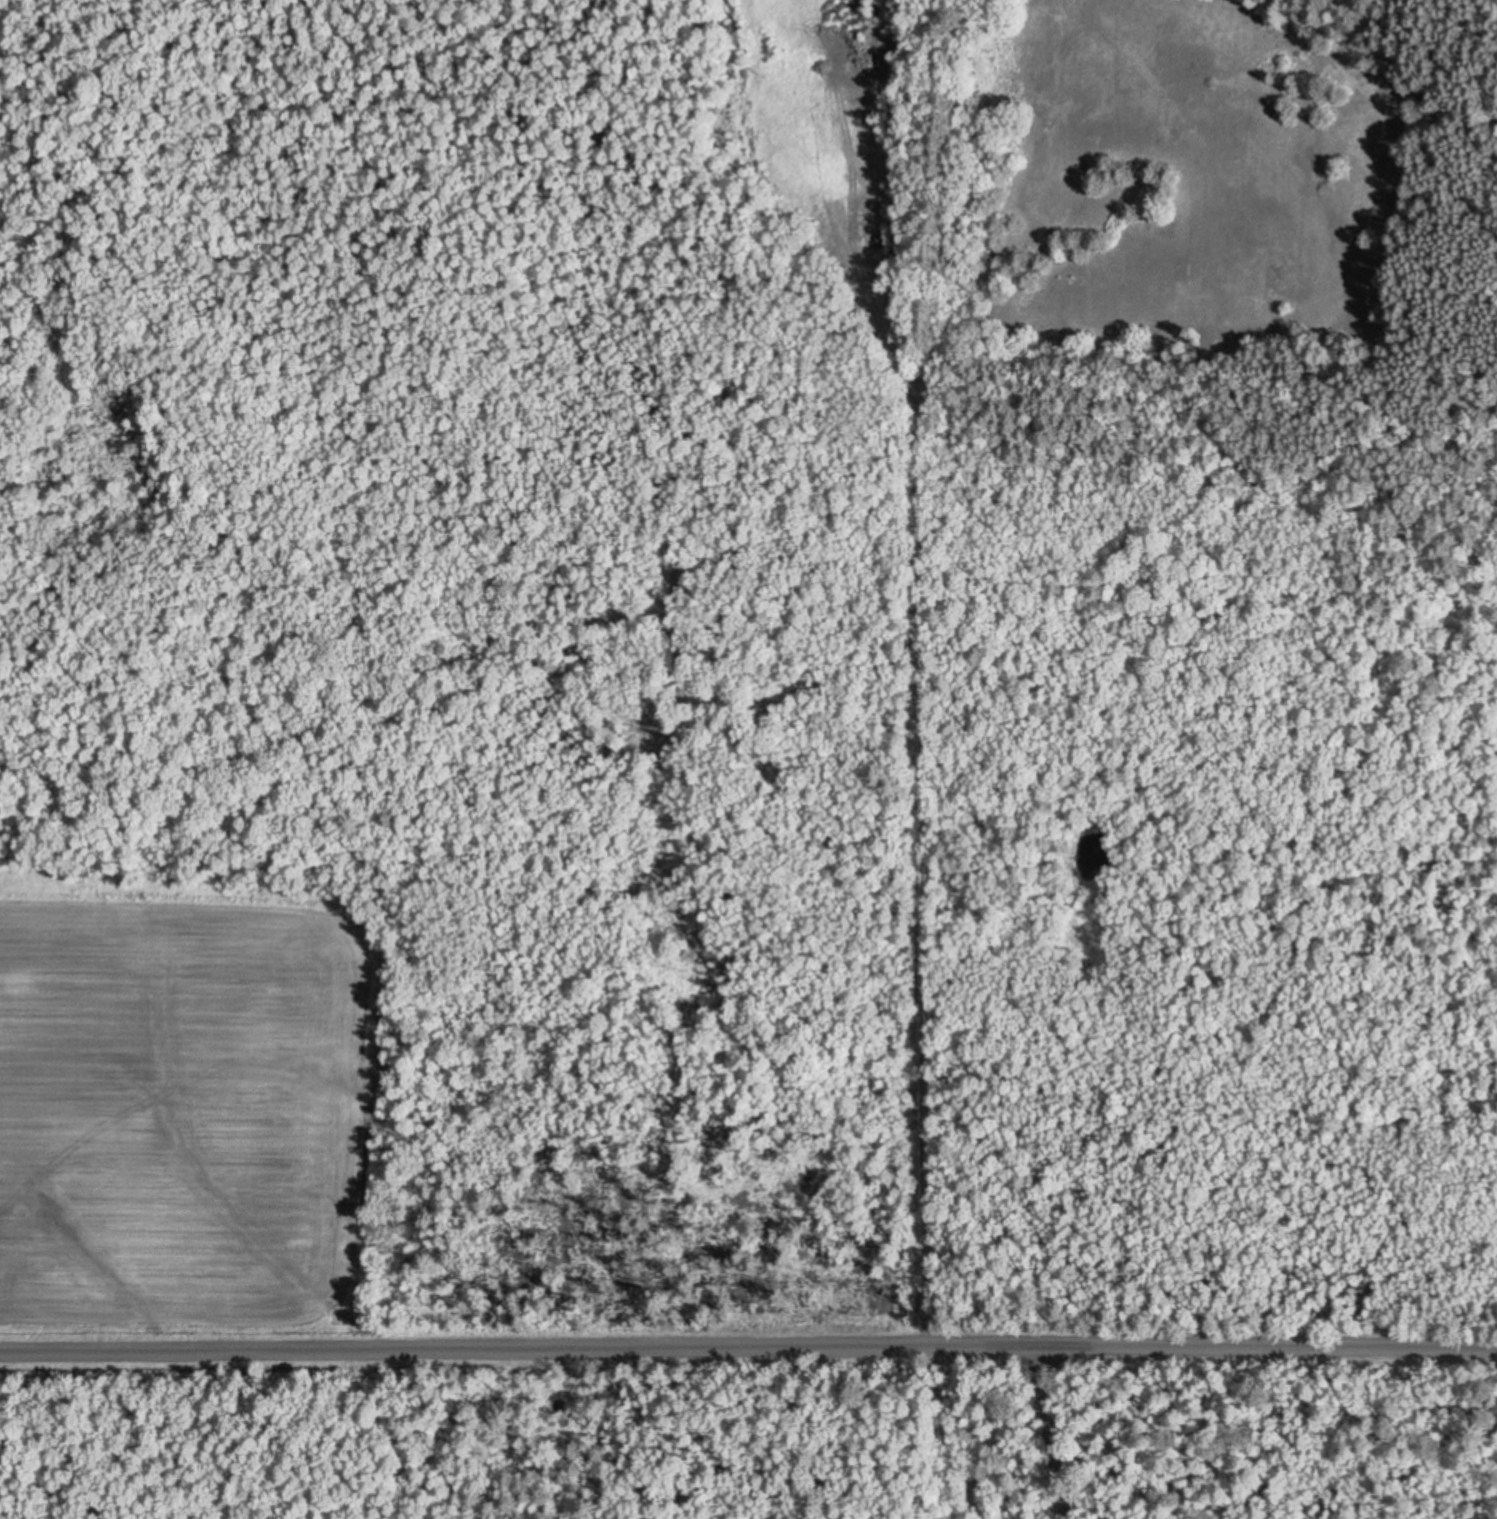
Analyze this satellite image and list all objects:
road: (946, 651)
road: (748, 1346)
road: (1038, 1432)

